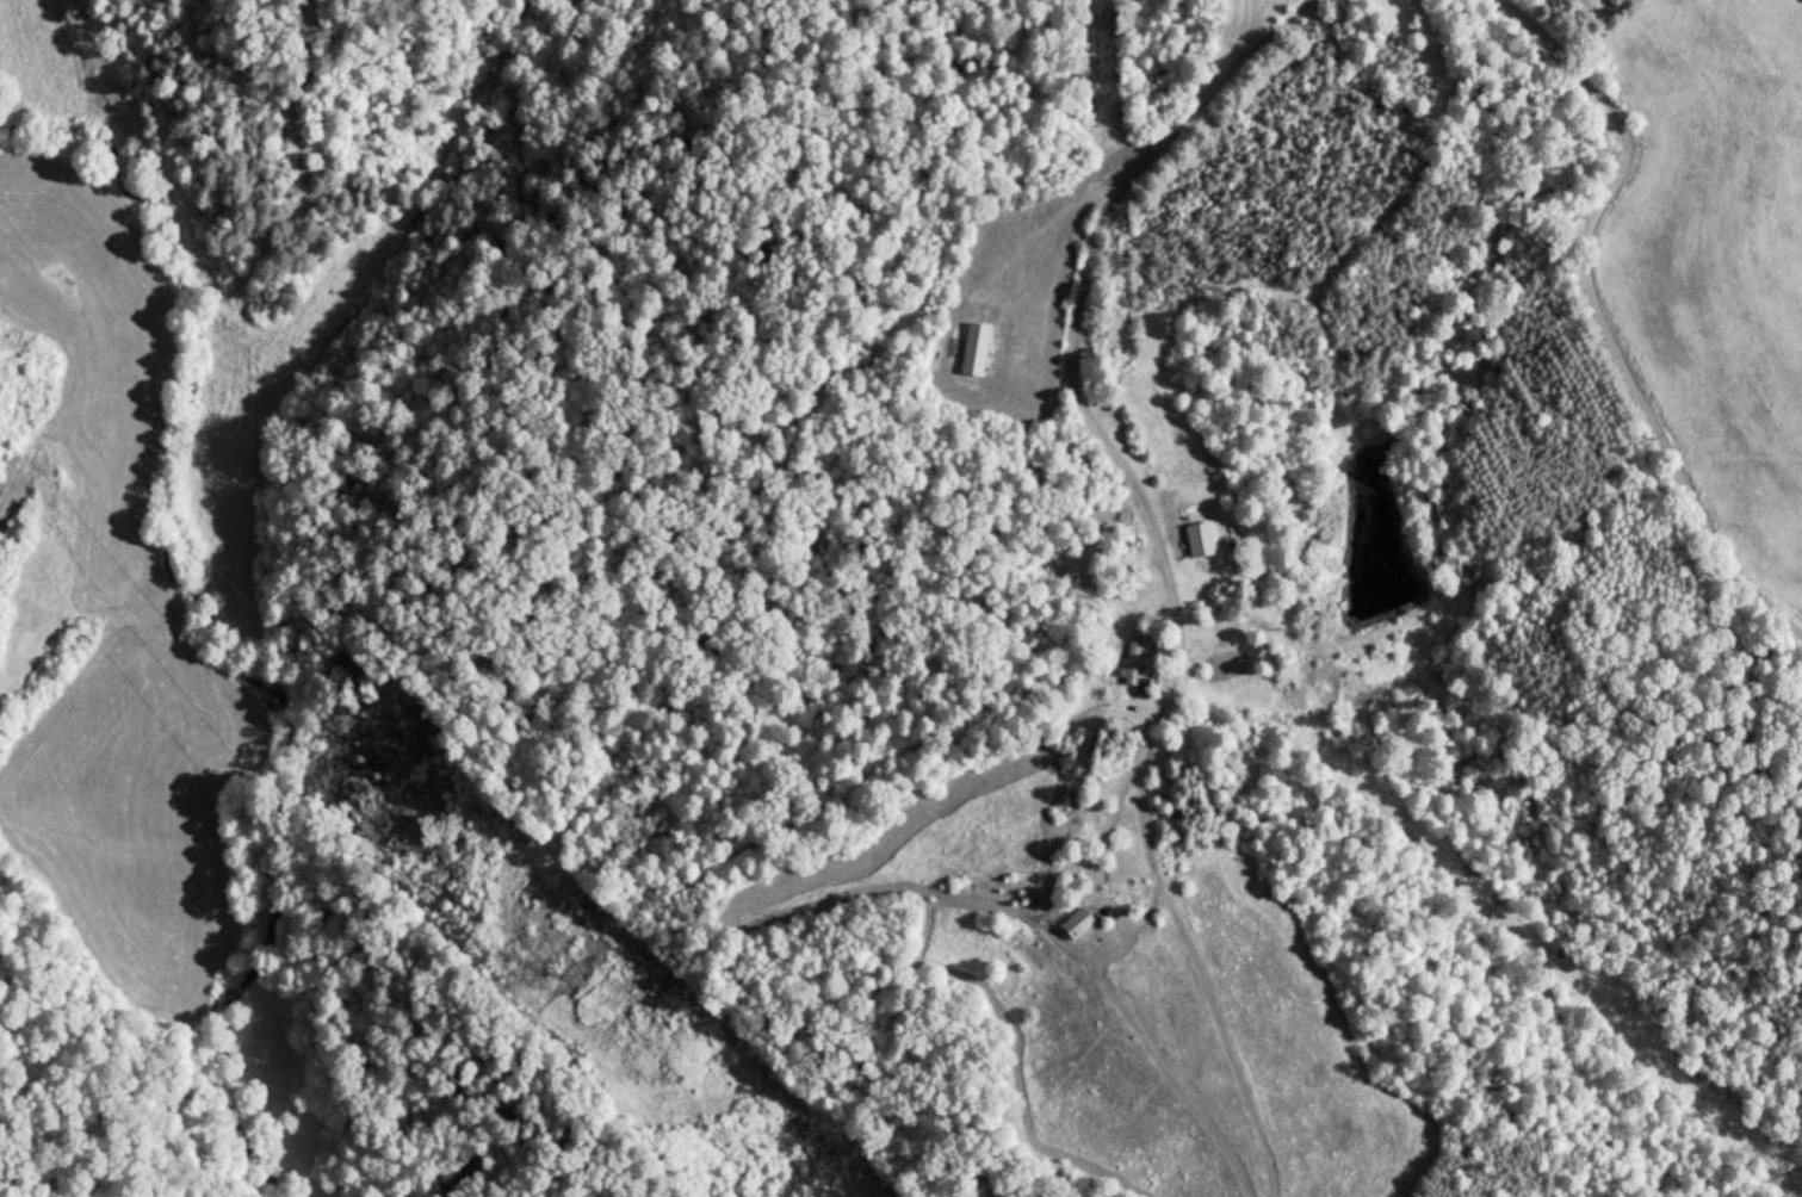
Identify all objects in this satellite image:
road: (1598, 318)
road: (1052, 358)
building: (1134, 659)
building: (1079, 925)
power tower: (577, 975)

